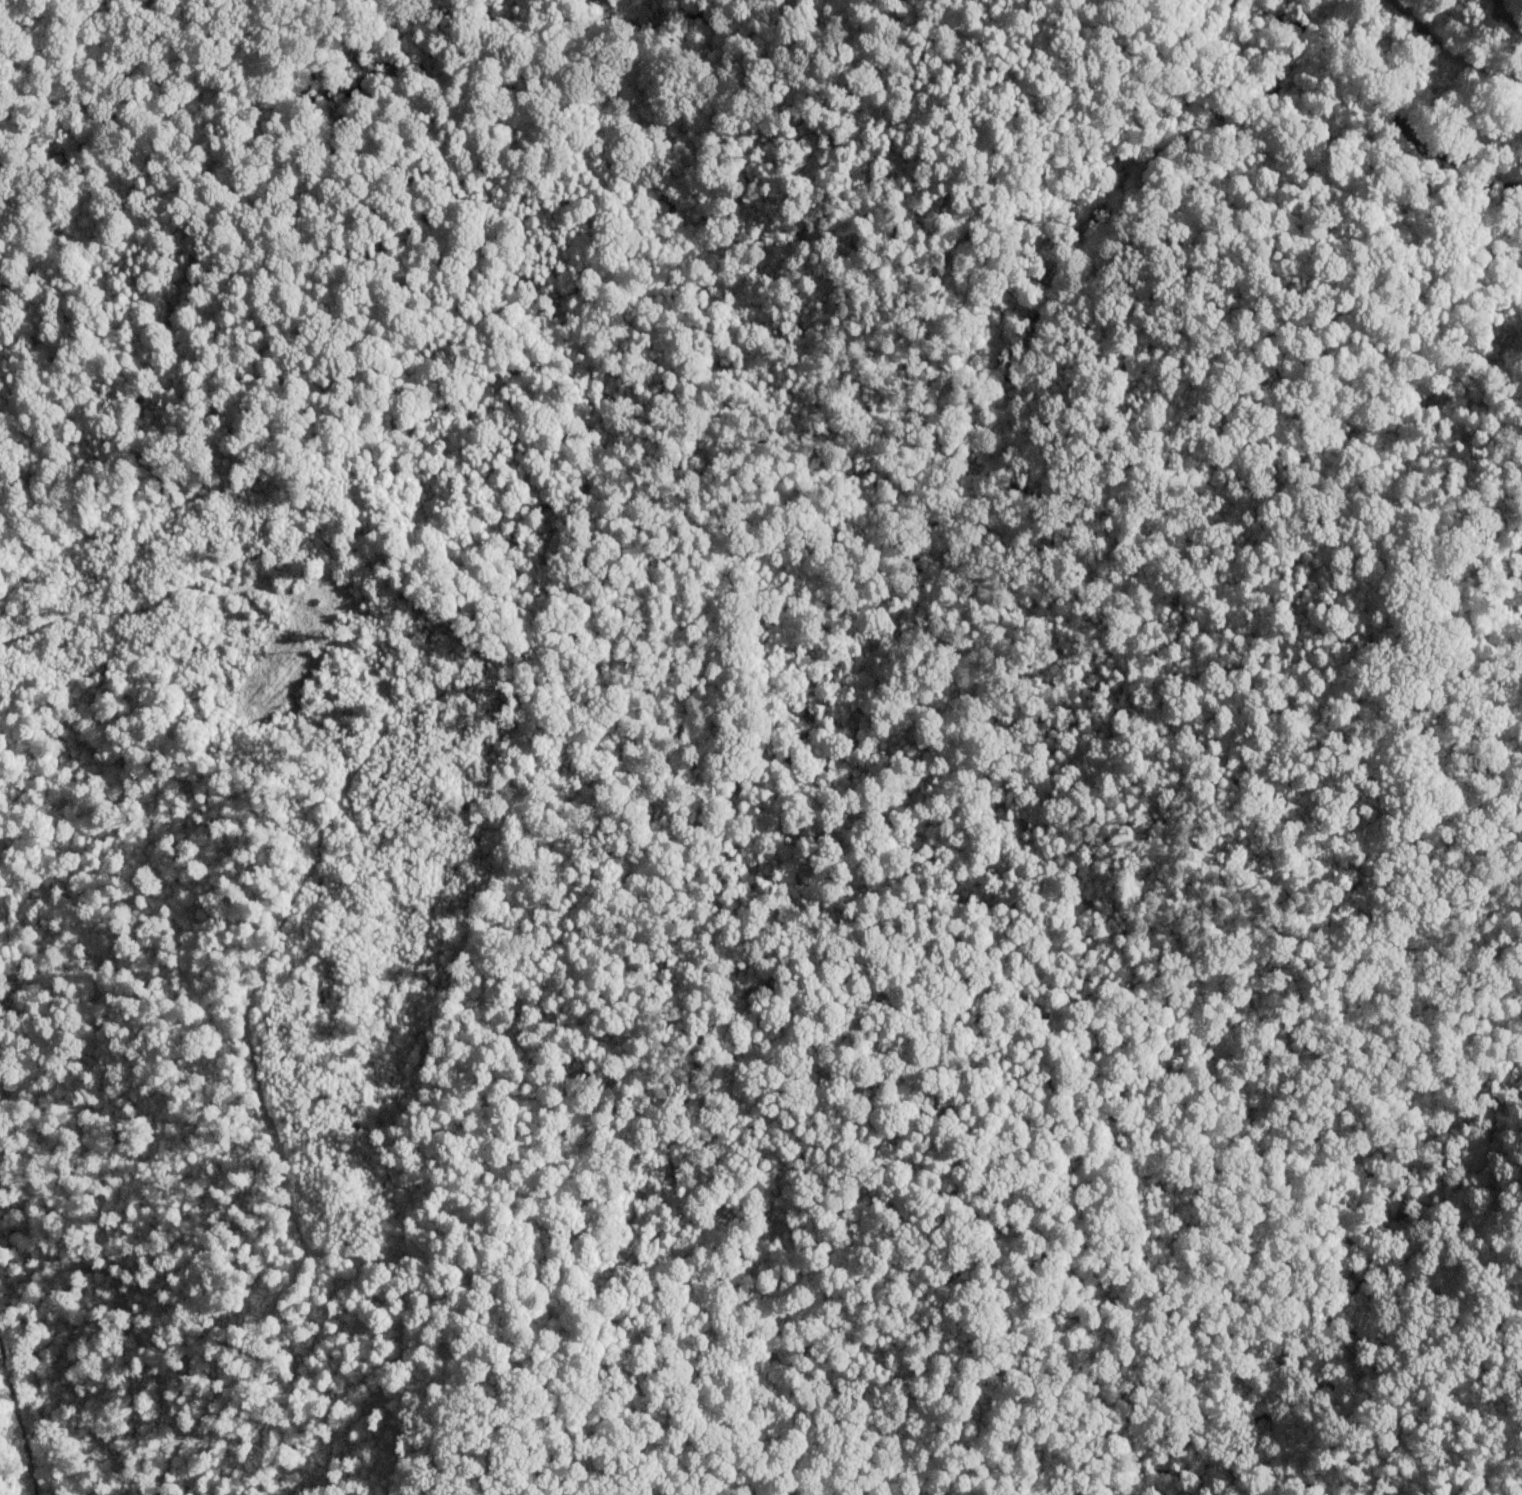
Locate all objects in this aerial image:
road: (1510, 12)
road: (1447, 55)

